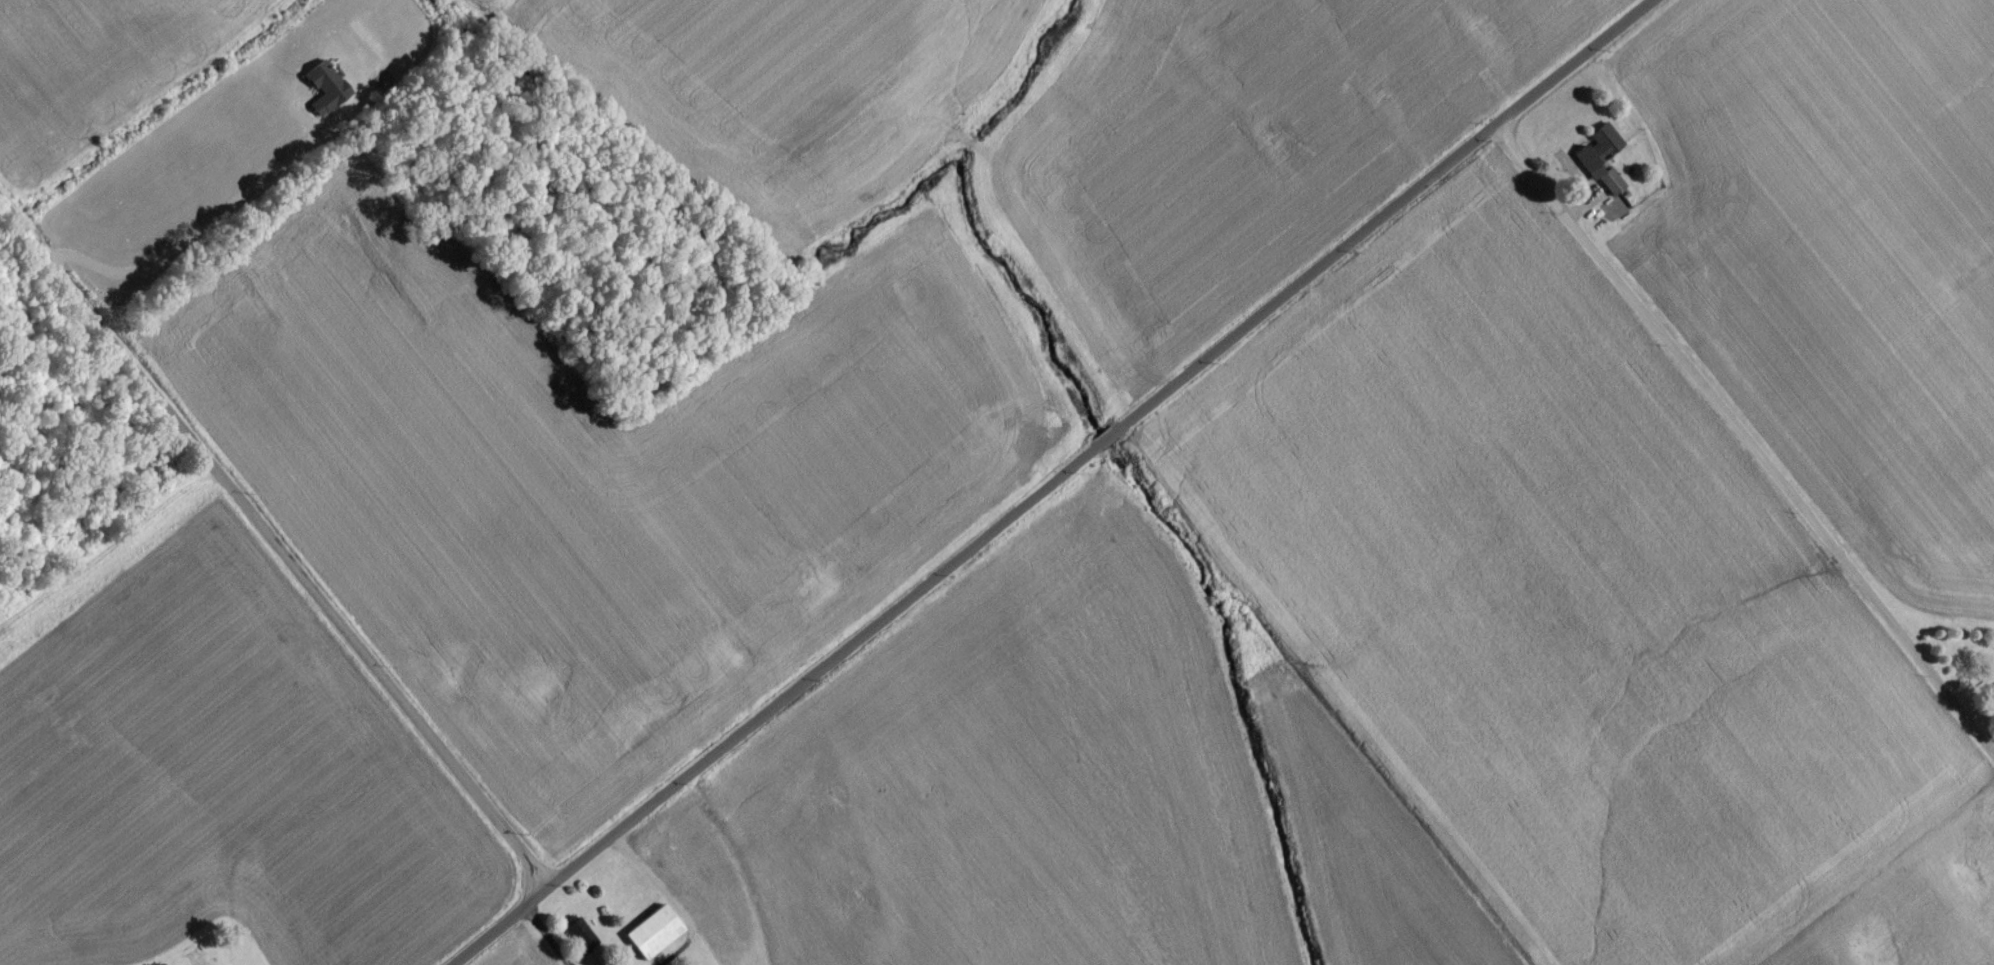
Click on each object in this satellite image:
building: (1600, 164)
road: (203, 232)
road: (1744, 436)
road: (1054, 481)
road: (271, 545)
building: (1990, 703)
building: (650, 939)
building: (577, 942)

